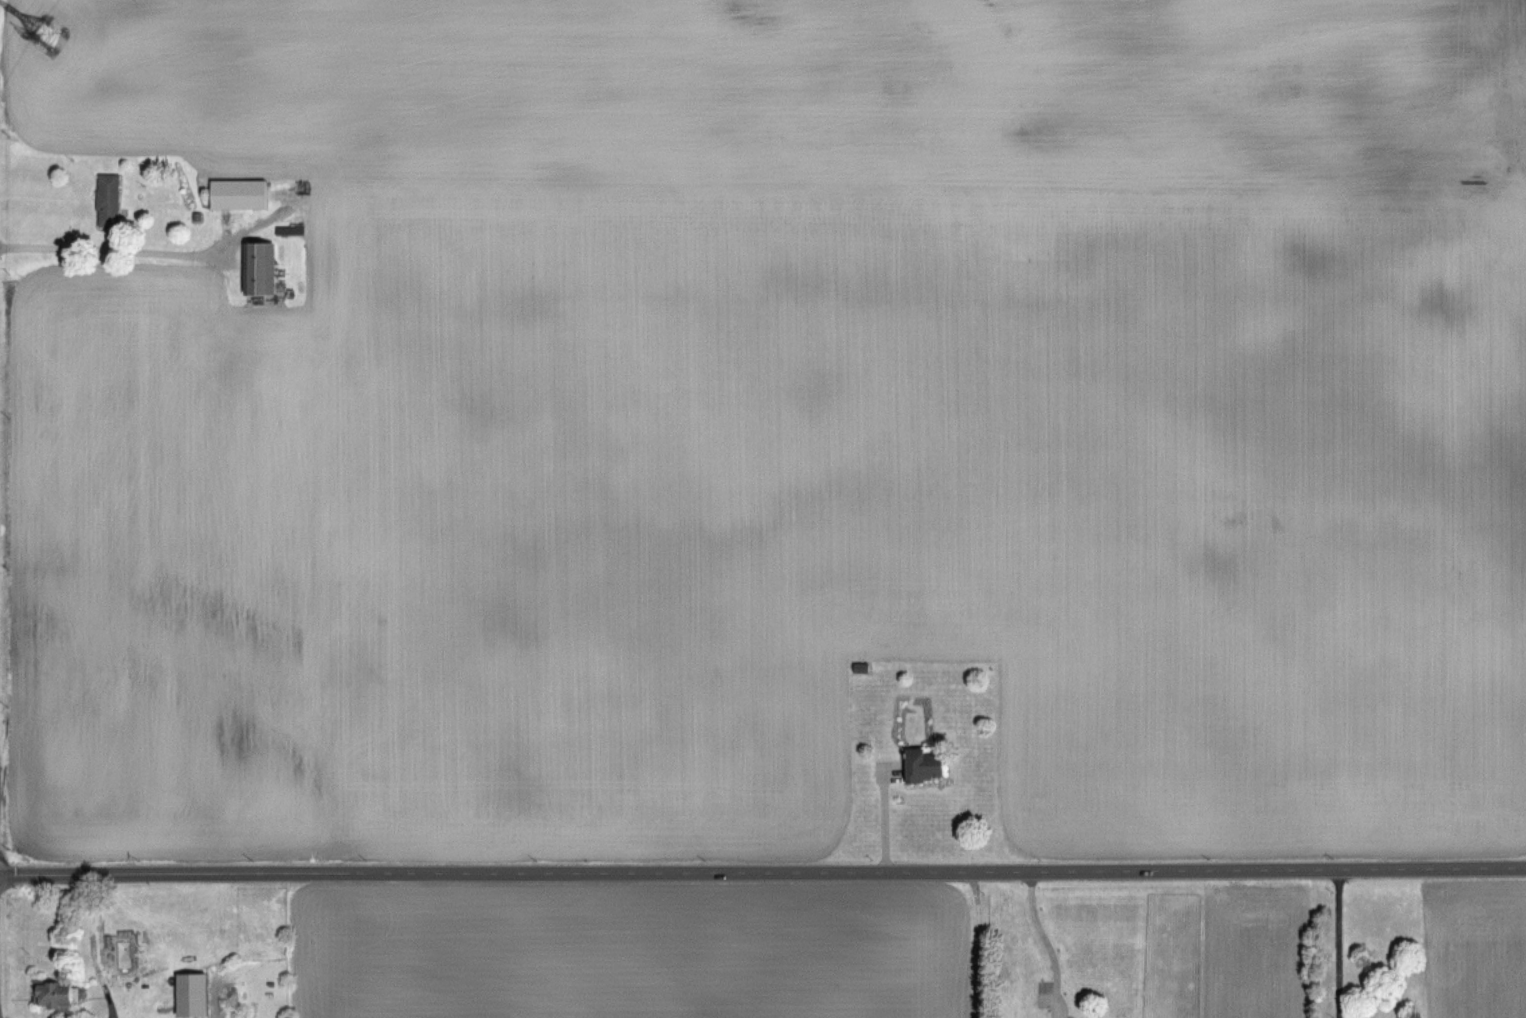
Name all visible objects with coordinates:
power tower: (62, 15)
building: (238, 193)
building: (108, 199)
road: (117, 248)
building: (258, 267)
building: (923, 764)
road: (878, 818)
road: (763, 872)
road: (1040, 941)
road: (1342, 942)
road: (980, 944)
road: (91, 947)
building: (54, 993)
building: (192, 994)

